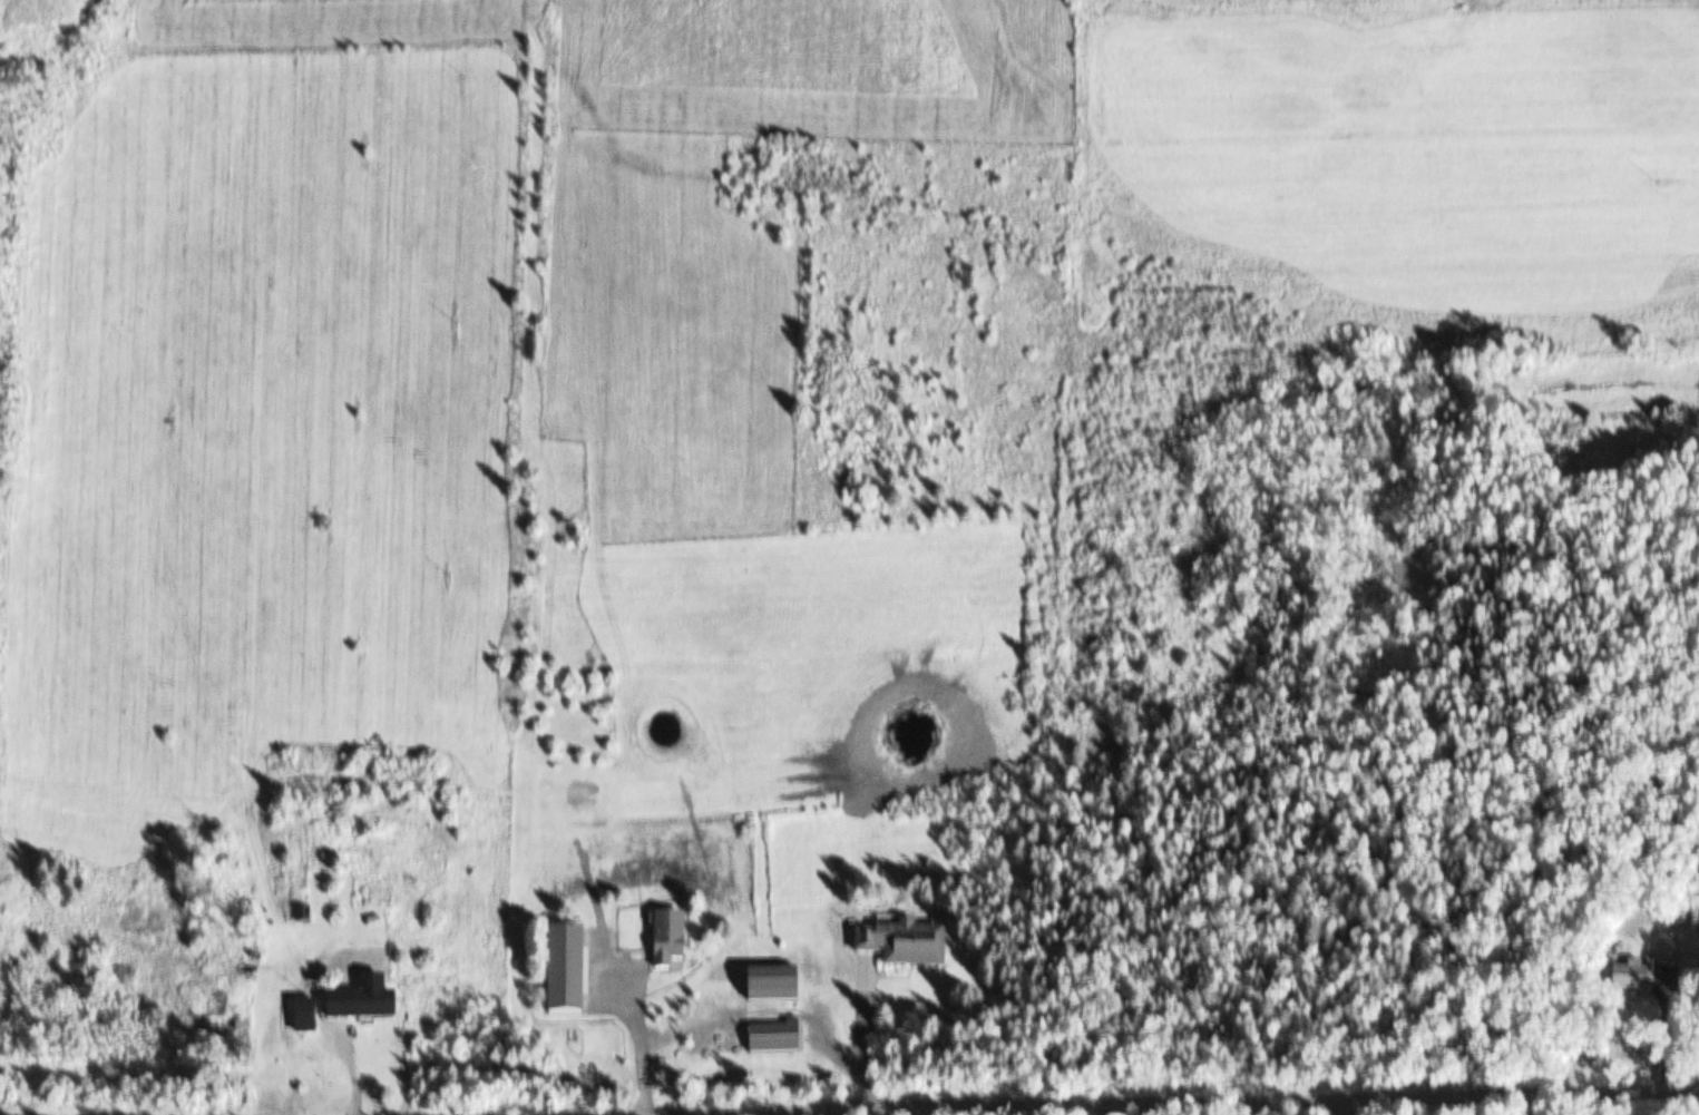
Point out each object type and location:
building: (307, 916)
building: (892, 946)
building: (662, 949)
building: (1662, 955)
building: (555, 972)
building: (1621, 981)
building: (762, 987)
building: (384, 1006)
building: (311, 1018)
building: (769, 1040)

